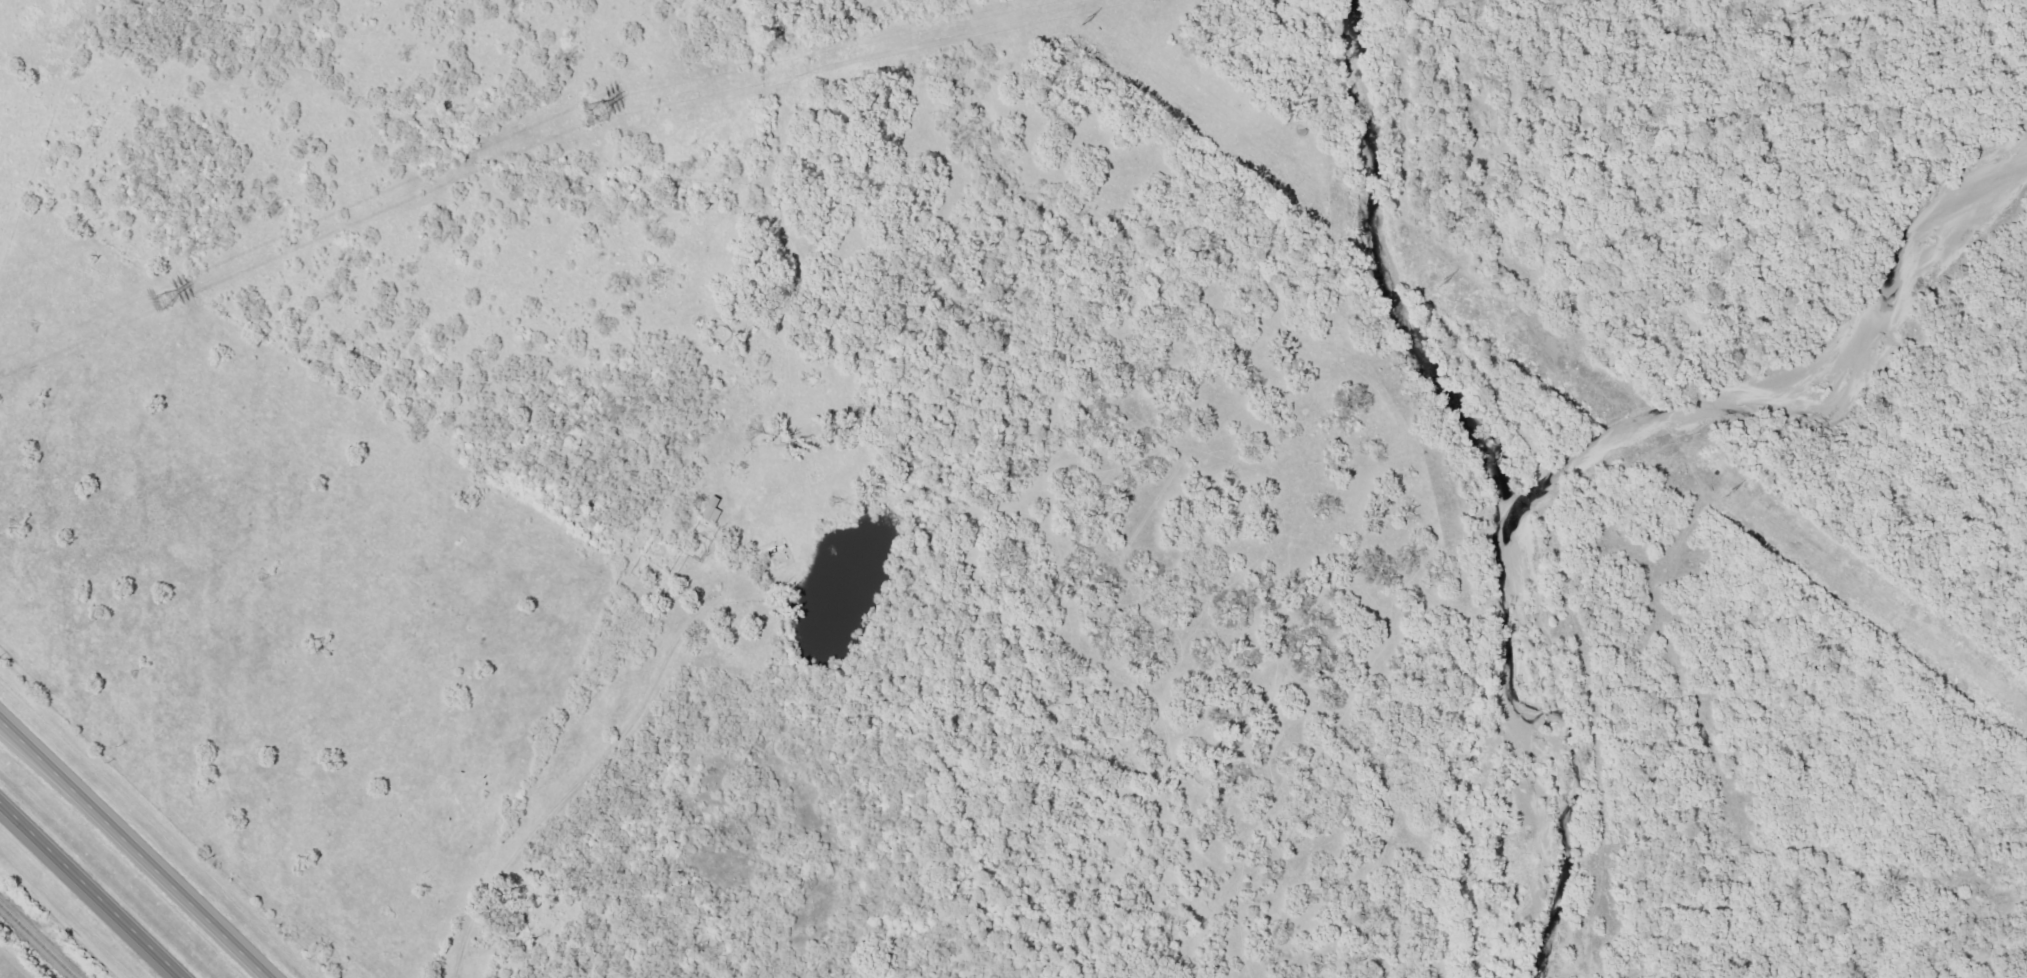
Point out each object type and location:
power tower: (1083, 22)
power tower: (591, 112)
power tower: (1439, 281)
power tower: (161, 302)
power tower: (1728, 493)
building: (710, 510)
road: (680, 694)
road: (135, 848)
road: (91, 890)
railway: (35, 943)

